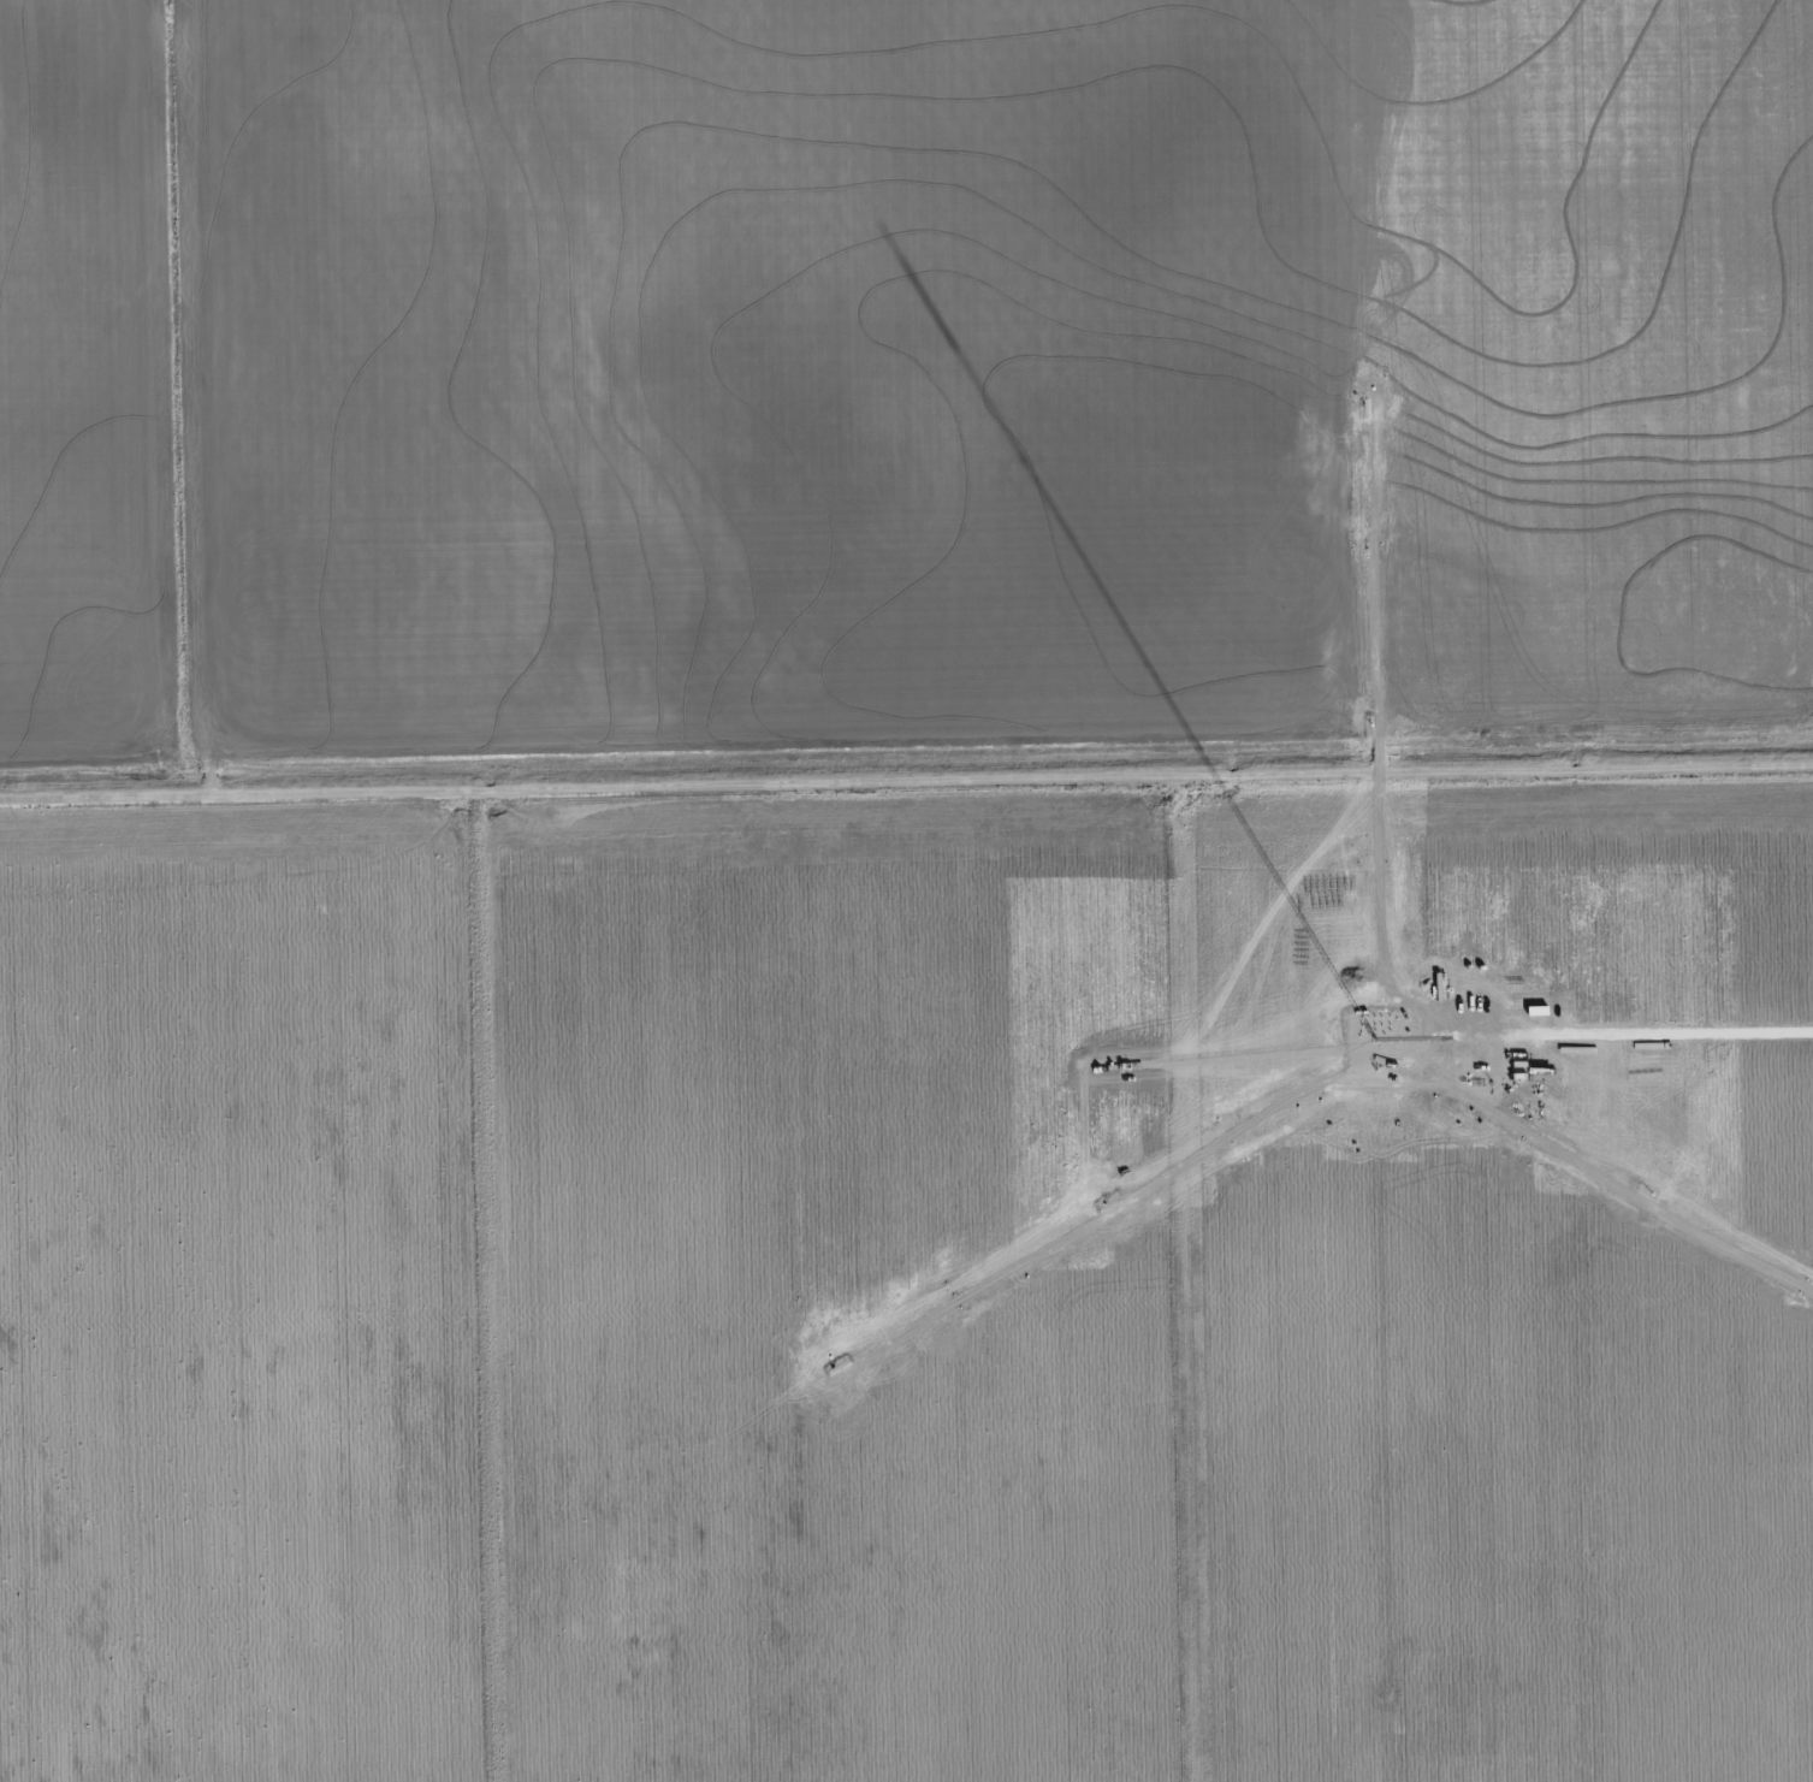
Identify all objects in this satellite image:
road: (906, 795)
road: (1586, 1283)
road: (1195, 1285)
road: (504, 1295)

